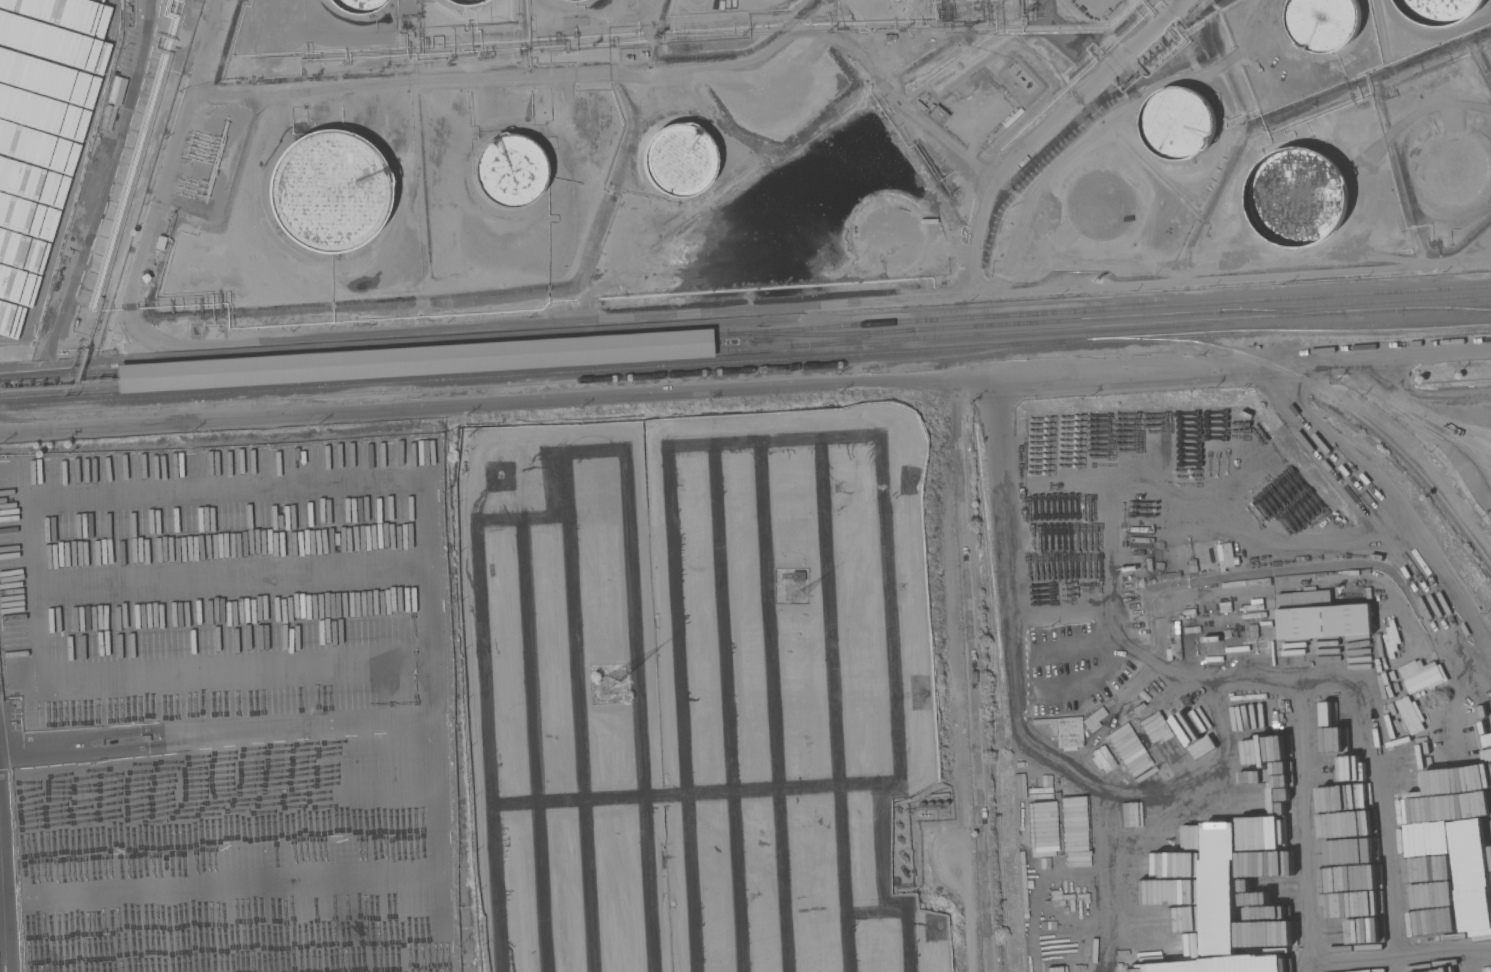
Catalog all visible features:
building: (572, 0)
building: (465, 2)
building: (356, 5)
building: (1440, 11)
building: (1323, 23)
building: (985, 78)
road: (1048, 122)
building: (1178, 123)
building: (40, 132)
building: (678, 160)
building: (1454, 169)
building: (509, 170)
building: (328, 191)
building: (1297, 197)
building: (1100, 204)
road: (1221, 278)
railway: (1449, 309)
railway: (1112, 318)
railway: (745, 333)
railway: (745, 350)
railway: (1246, 356)
building: (415, 361)
railway: (745, 361)
railway: (529, 382)
road: (745, 394)
railway: (1438, 493)
road: (995, 494)
road: (24, 516)
road: (1239, 524)
building: (797, 576)
building: (1320, 616)
building: (1391, 638)
building: (13, 664)
road: (1275, 668)
building: (1421, 675)
road: (972, 676)
road: (1070, 694)
building: (1068, 732)
road: (175, 735)
building: (144, 738)
road: (36, 748)
building: (482, 773)
building: (938, 794)
building: (944, 803)
building: (928, 804)
building: (936, 804)
building: (920, 805)
building: (490, 836)
road: (402, 847)
road: (209, 852)
building: (1041, 853)
building: (523, 859)
road: (1, 941)
road: (659, 947)

